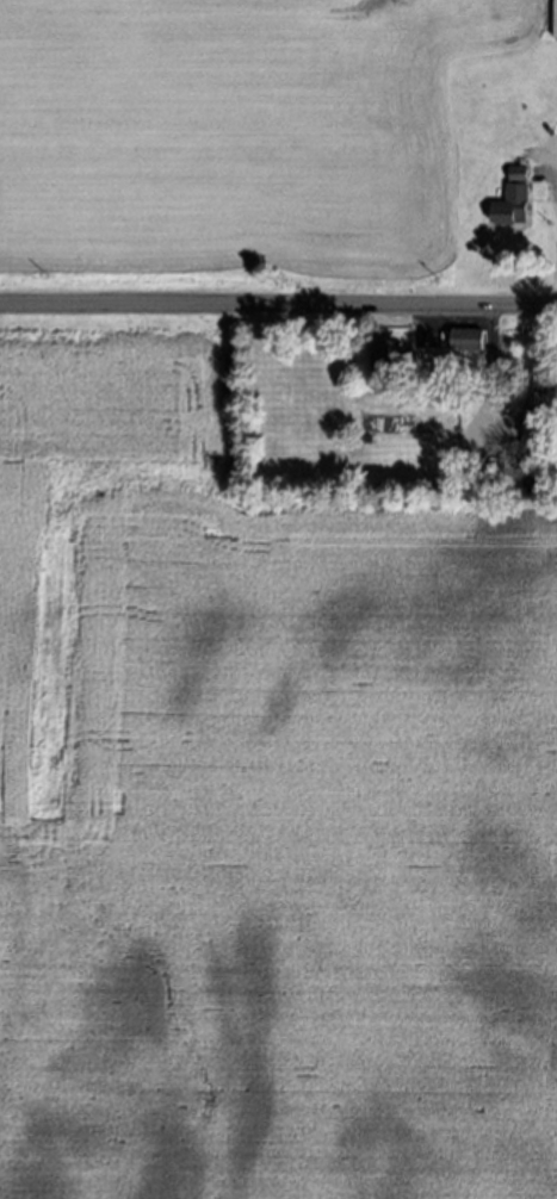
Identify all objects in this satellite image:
building: (555, 20)
building: (518, 173)
building: (510, 206)
road: (278, 306)
building: (466, 338)
building: (388, 354)
building: (534, 427)
building: (539, 472)

